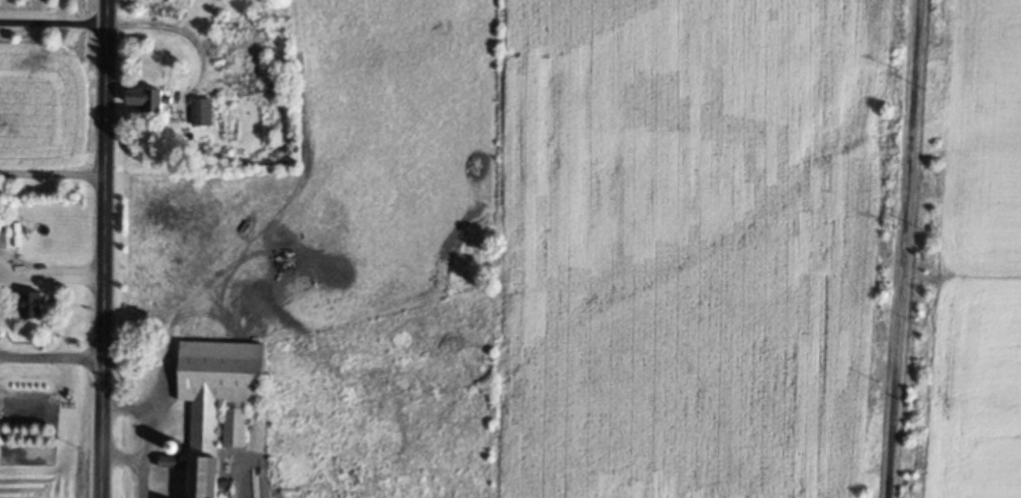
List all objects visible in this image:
road: (51, 23)
road: (179, 29)
building: (142, 99)
building: (199, 111)
road: (51, 175)
building: (2, 239)
road: (102, 249)
road: (900, 249)
road: (51, 268)
building: (30, 305)
road: (50, 356)
building: (212, 408)
road: (145, 427)
road: (122, 454)

